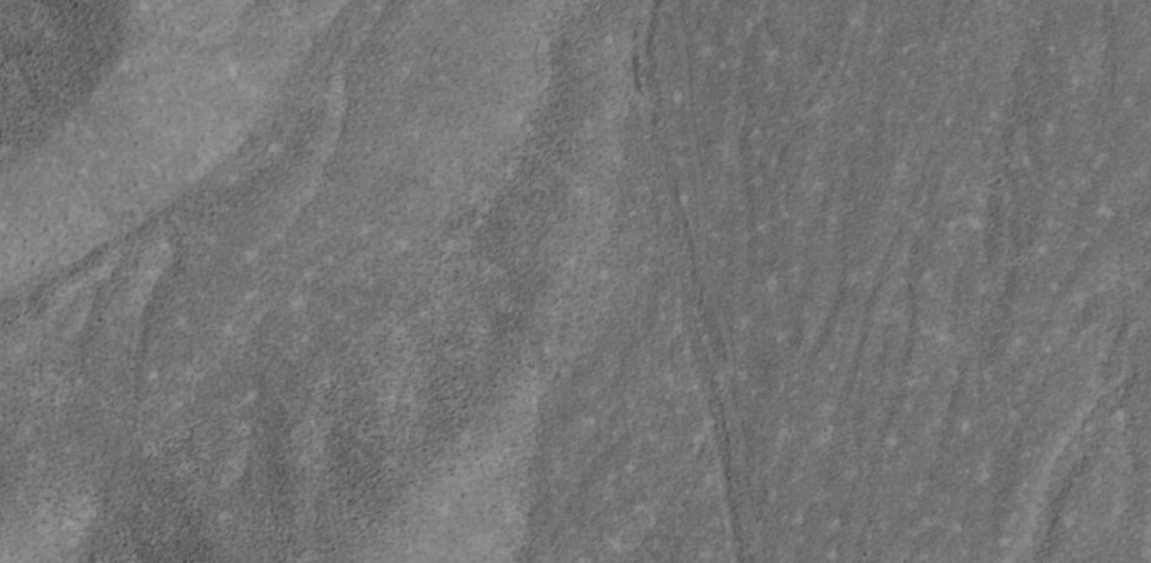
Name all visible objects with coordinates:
road: (933, 145)
road: (715, 281)

